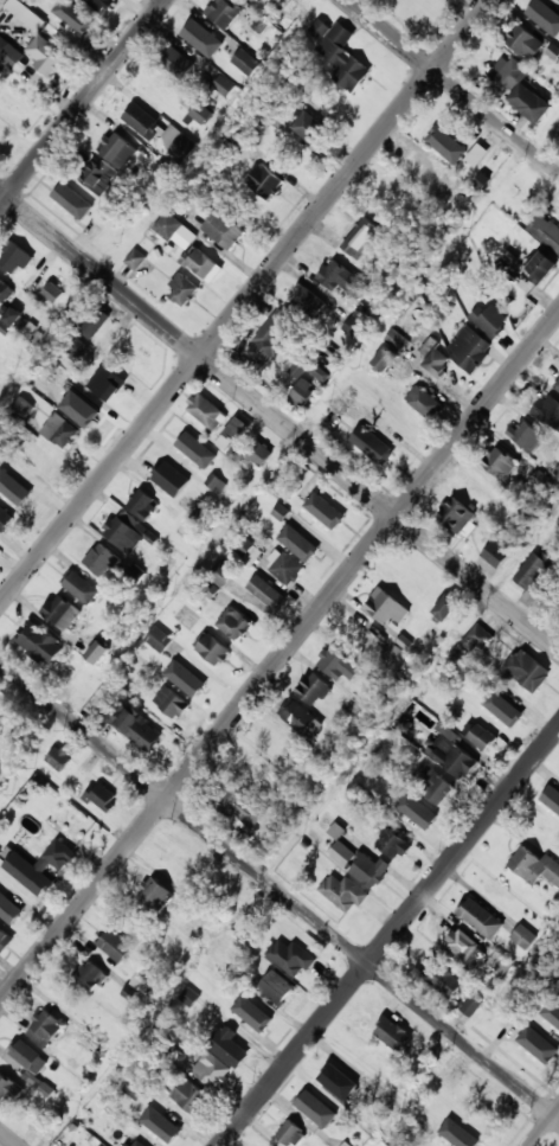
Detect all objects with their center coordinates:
building: (253, 0)
building: (278, 0)
building: (99, 5)
building: (225, 11)
building: (546, 15)
building: (77, 21)
building: (206, 40)
building: (525, 41)
building: (341, 53)
building: (44, 55)
building: (11, 56)
building: (176, 62)
building: (245, 62)
building: (224, 85)
road: (454, 85)
building: (523, 90)
road: (83, 101)
building: (201, 113)
building: (142, 121)
building: (307, 124)
building: (171, 135)
building: (1, 139)
building: (445, 143)
building: (117, 149)
building: (419, 168)
building: (473, 171)
building: (97, 178)
building: (264, 180)
building: (454, 186)
building: (397, 197)
building: (71, 198)
building: (167, 226)
building: (224, 230)
building: (546, 231)
building: (361, 237)
building: (13, 257)
building: (135, 260)
building: (199, 262)
building: (542, 268)
building: (341, 277)
building: (181, 289)
building: (5, 290)
building: (52, 293)
road: (244, 302)
building: (307, 302)
building: (490, 320)
building: (20, 322)
building: (95, 322)
building: (354, 327)
building: (397, 340)
building: (265, 342)
building: (75, 348)
building: (470, 348)
building: (386, 359)
building: (436, 363)
building: (300, 367)
building: (320, 372)
building: (56, 374)
building: (107, 383)
building: (557, 384)
building: (304, 391)
building: (425, 402)
building: (83, 408)
building: (20, 409)
building: (207, 410)
building: (548, 411)
road: (279, 422)
building: (236, 428)
building: (59, 430)
building: (526, 435)
building: (372, 446)
building: (193, 449)
building: (258, 453)
building: (500, 463)
building: (557, 472)
building: (171, 479)
building: (214, 482)
building: (536, 482)
building: (19, 491)
building: (298, 501)
building: (142, 504)
building: (279, 511)
building: (204, 514)
building: (457, 514)
building: (5, 519)
building: (329, 519)
building: (126, 532)
building: (245, 548)
building: (304, 548)
building: (499, 555)
building: (102, 561)
building: (285, 568)
building: (536, 571)
building: (221, 574)
building: (81, 587)
building: (268, 594)
building: (387, 607)
building: (448, 607)
building: (60, 612)
building: (186, 616)
building: (233, 623)
building: (476, 640)
building: (39, 642)
building: (212, 648)
building: (97, 652)
road: (279, 659)
building: (178, 662)
building: (334, 662)
building: (527, 670)
building: (314, 690)
building: (171, 702)
building: (505, 709)
building: (301, 718)
building: (130, 724)
building: (482, 737)
building: (276, 744)
building: (58, 760)
building: (460, 762)
building: (252, 776)
building: (429, 783)
building: (101, 798)
building: (554, 802)
building: (238, 807)
building: (416, 813)
building: (336, 831)
building: (393, 844)
building: (181, 860)
building: (360, 864)
building: (535, 866)
building: (41, 867)
road: (279, 890)
building: (343, 892)
building: (155, 895)
building: (11, 911)
building: (481, 918)
building: (523, 936)
road: (390, 937)
building: (5, 940)
building: (462, 945)
building: (115, 946)
building: (558, 952)
building: (290, 958)
building: (500, 963)
building: (89, 975)
building: (442, 979)
building: (277, 988)
building: (189, 997)
building: (470, 1005)
building: (551, 1012)
building: (255, 1016)
building: (44, 1029)
building: (393, 1035)
building: (229, 1049)
building: (534, 1055)
building: (28, 1057)
building: (214, 1070)
building: (135, 1089)
building: (8, 1090)
building: (347, 1091)
building: (191, 1099)
building: (429, 1107)
building: (323, 1120)
road: (544, 1126)
building: (163, 1127)
building: (290, 1134)
building: (463, 1135)
road: (9, 1138)
building: (135, 1142)

